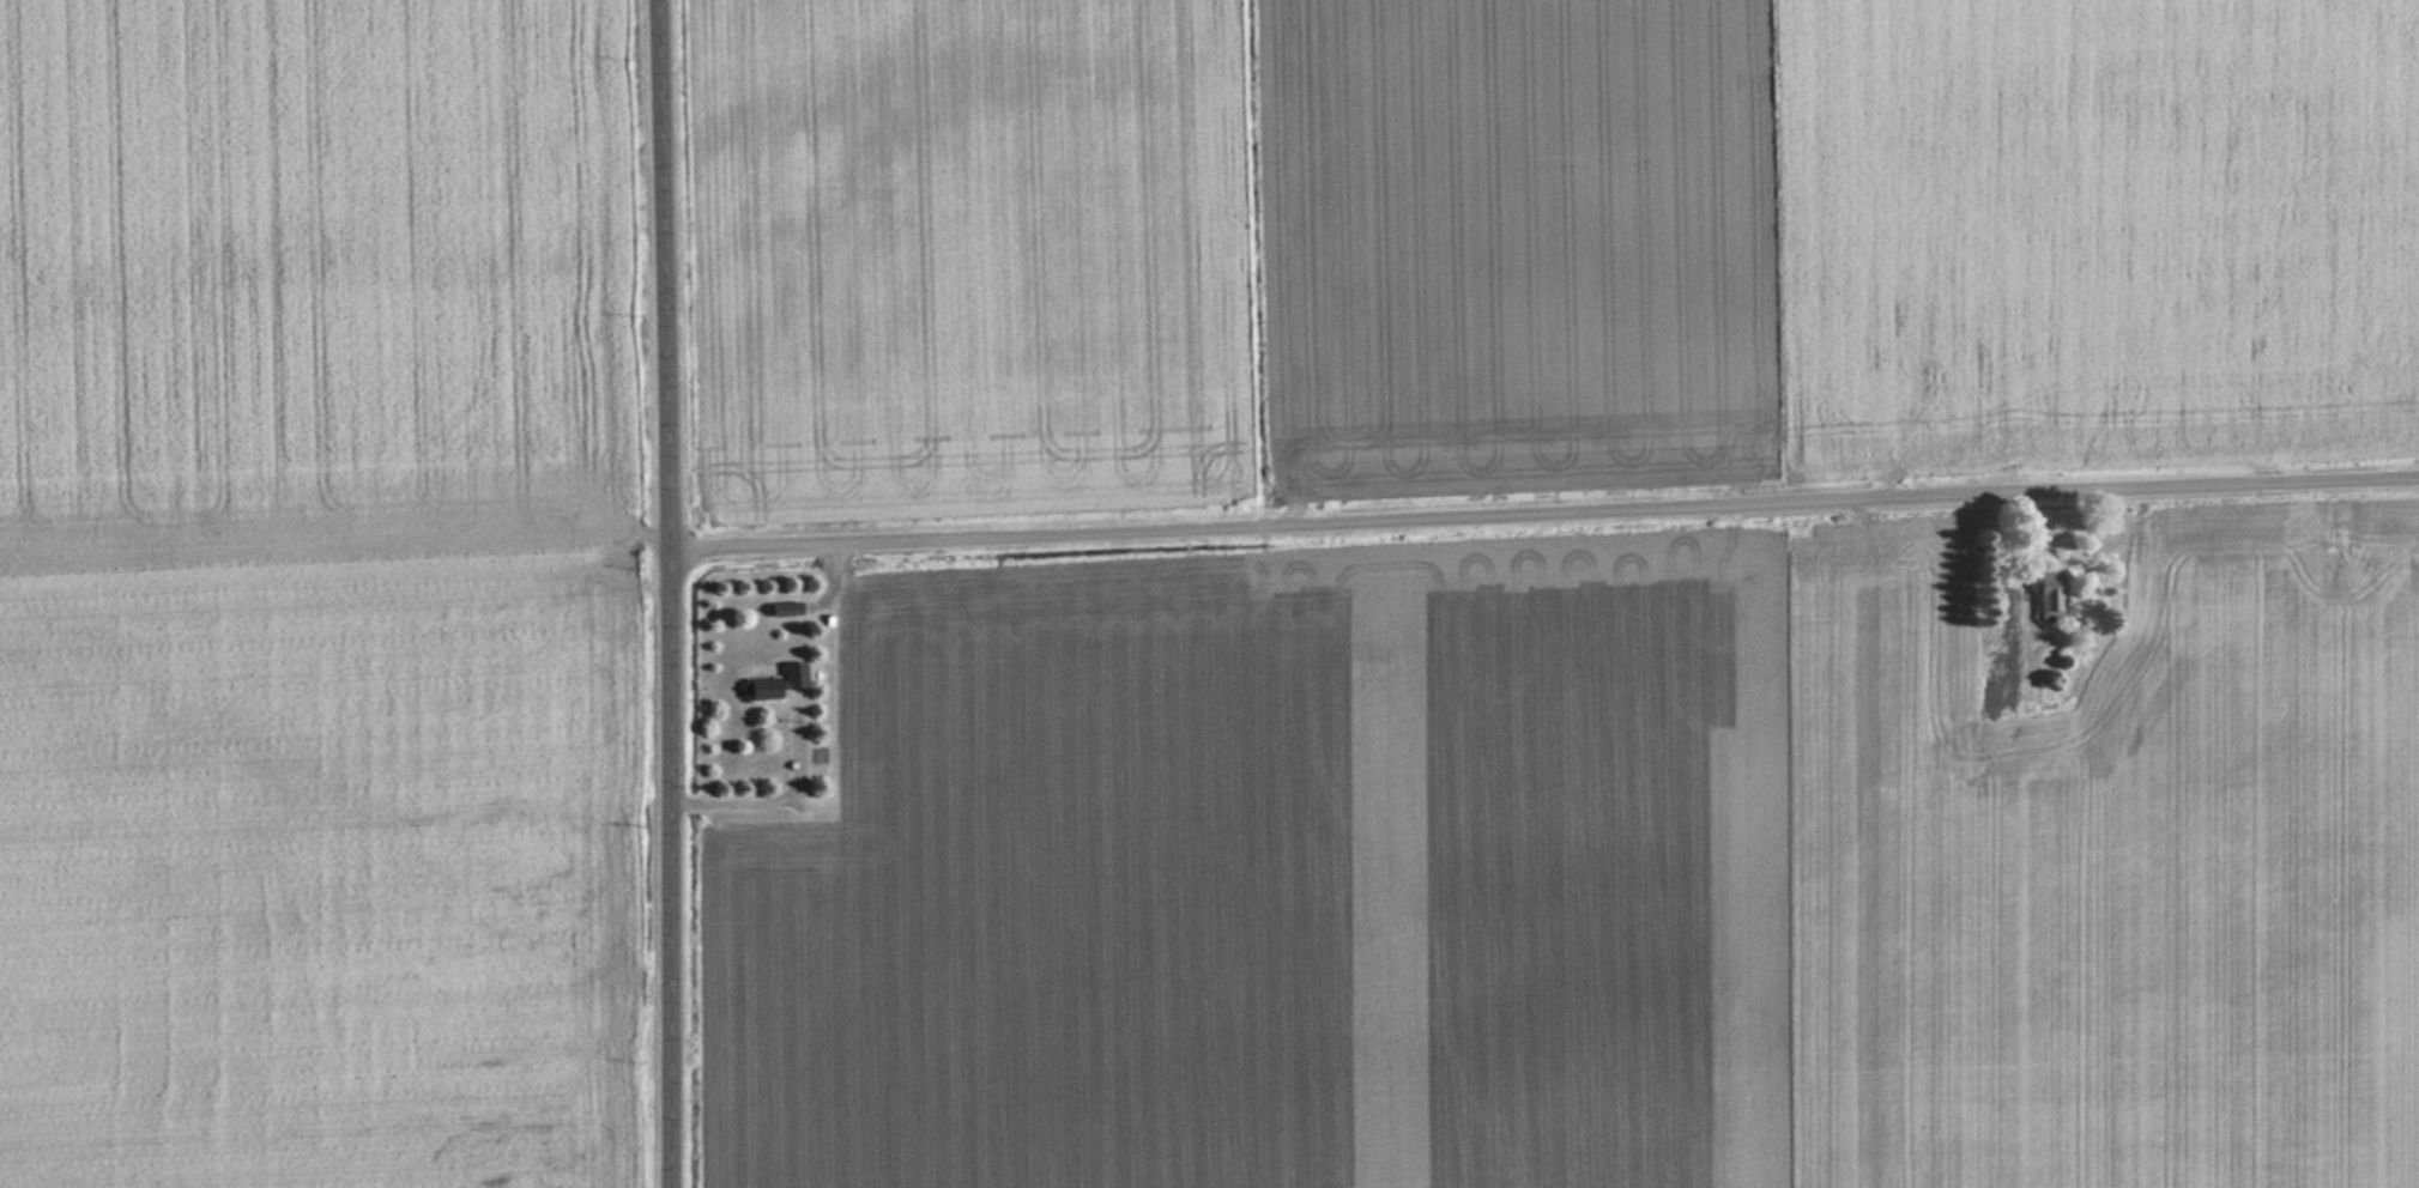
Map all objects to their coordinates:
road: (1549, 511)
road: (679, 593)
building: (2050, 594)
building: (776, 683)
building: (1967, 758)

